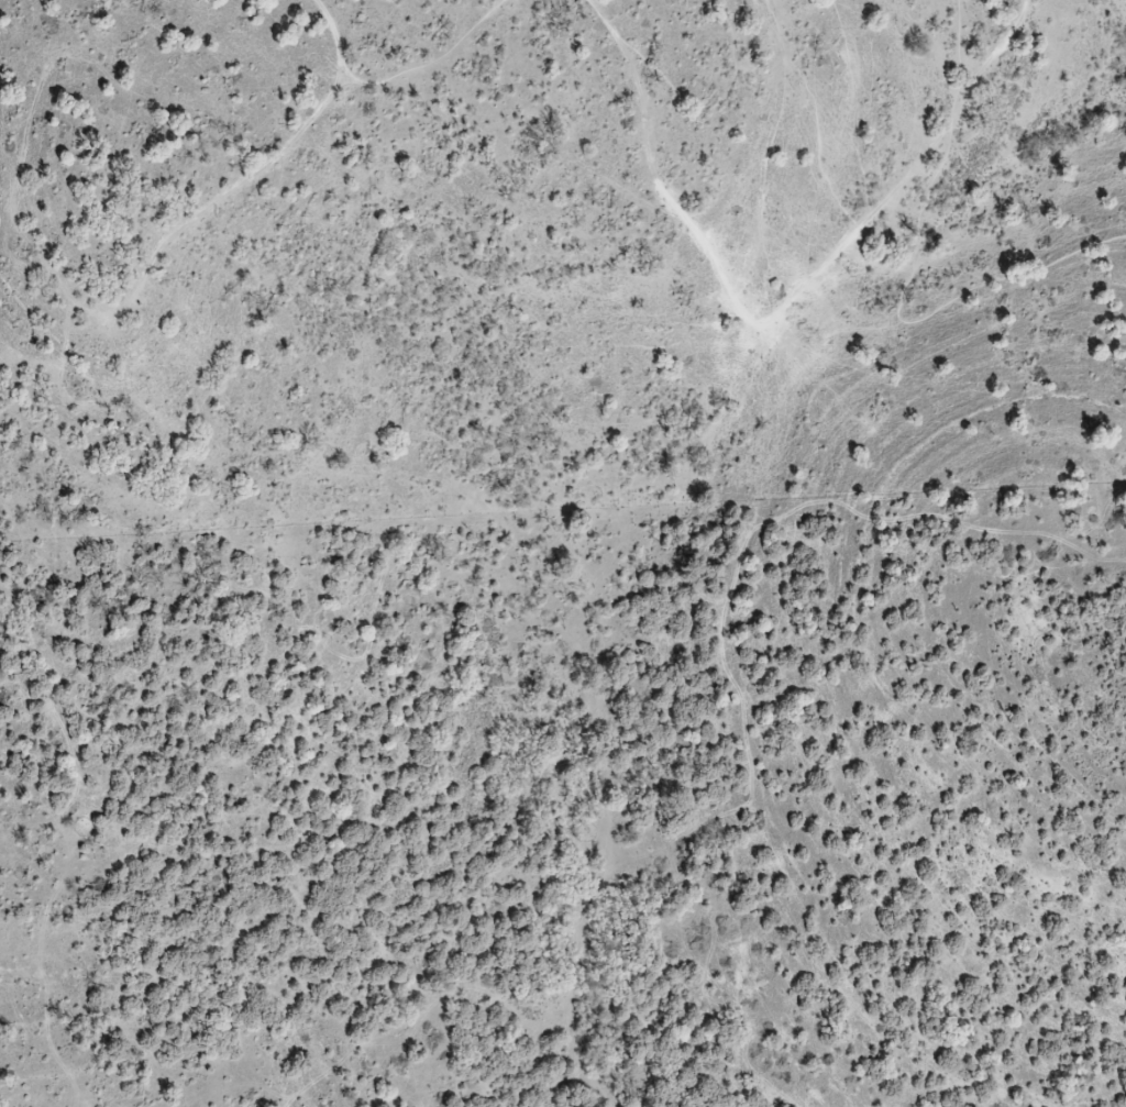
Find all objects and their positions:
road: (604, 15)
road: (985, 26)
road: (335, 35)
road: (432, 59)
road: (704, 120)
road: (902, 297)
road: (797, 300)

